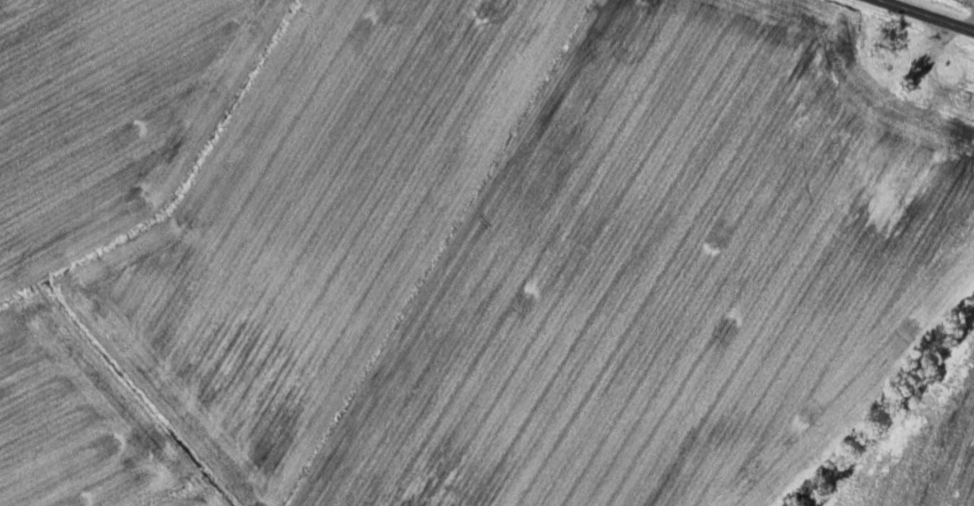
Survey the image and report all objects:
road: (935, 12)

